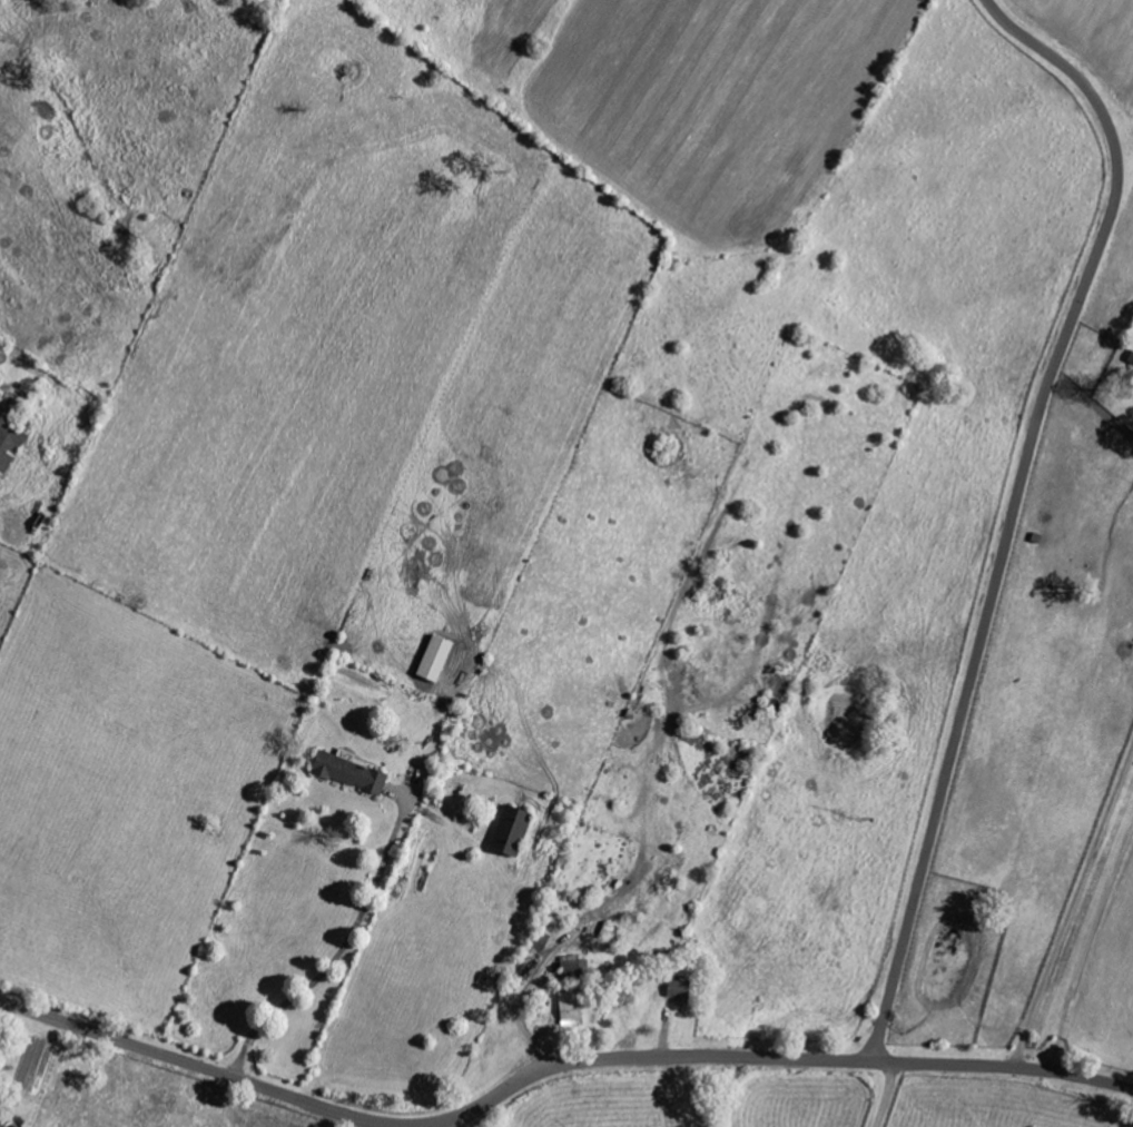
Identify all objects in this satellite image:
road: (23, 39)
building: (1130, 357)
road: (27, 459)
road: (1016, 506)
building: (440, 658)
building: (351, 771)
building: (514, 829)
road: (1072, 908)
road: (1088, 948)
road: (336, 952)
building: (568, 967)
building: (676, 989)
building: (566, 1008)
road: (775, 1060)
road: (196, 1067)
road: (885, 1096)

